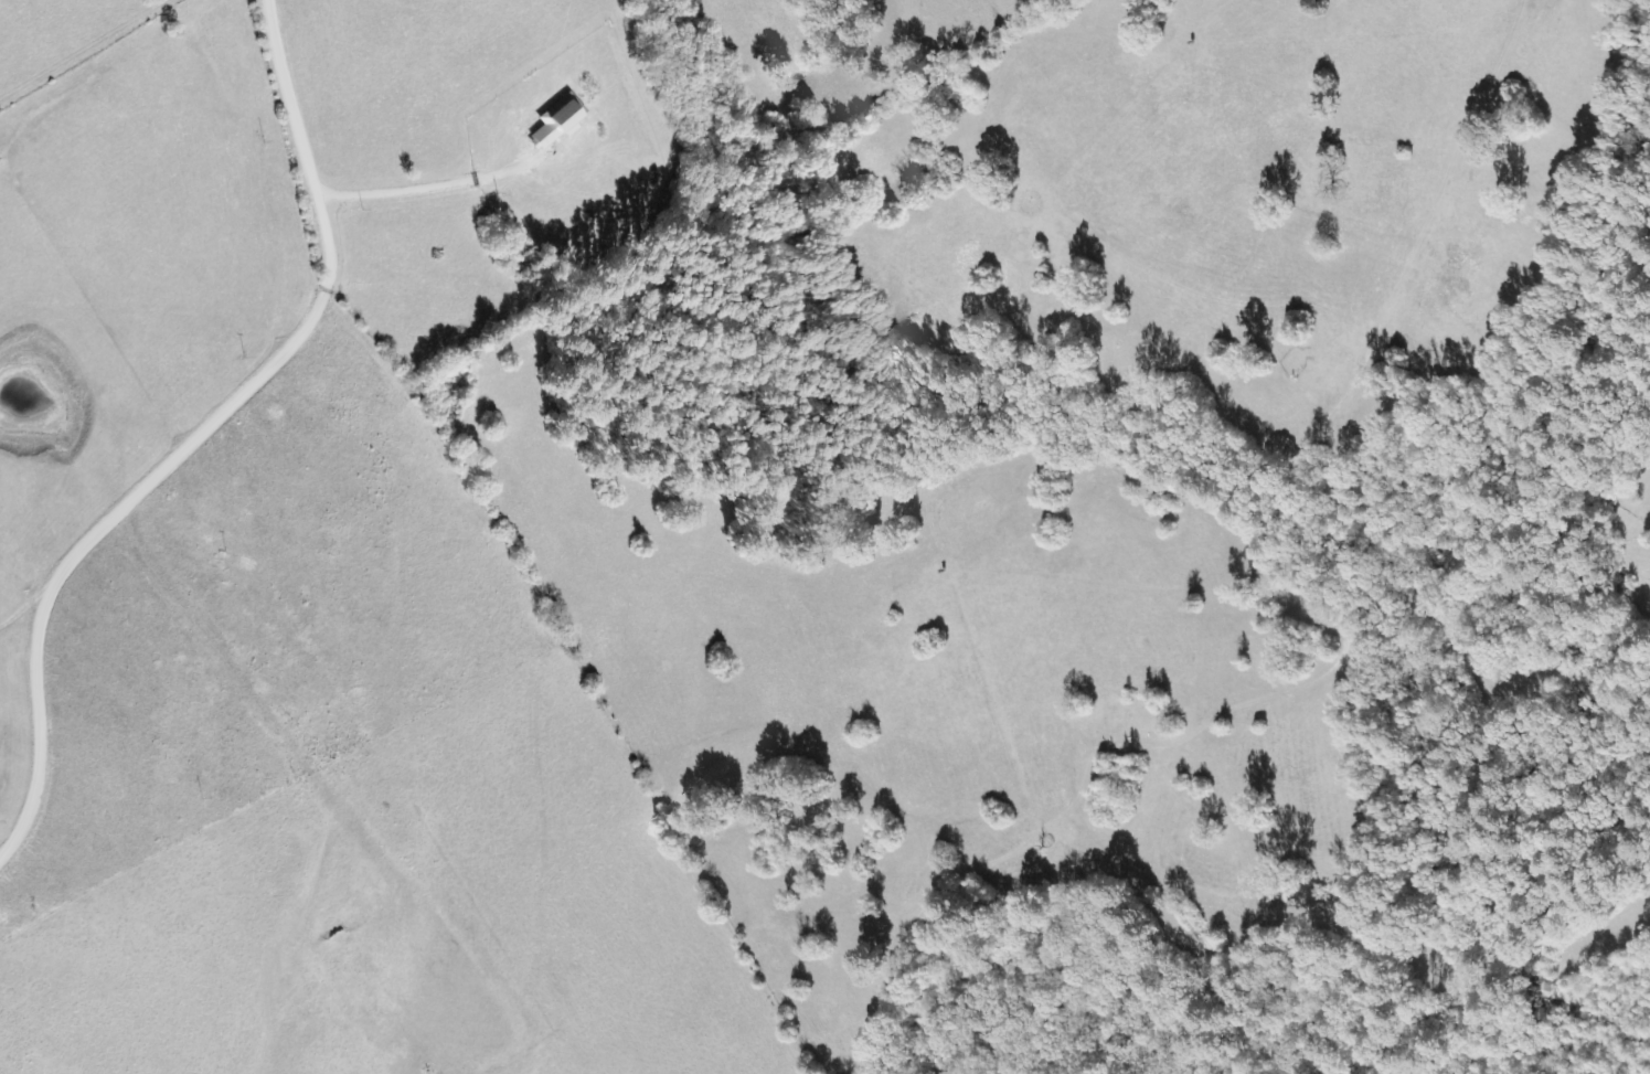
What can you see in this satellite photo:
road: (292, 99)
building: (556, 120)
road: (124, 508)

